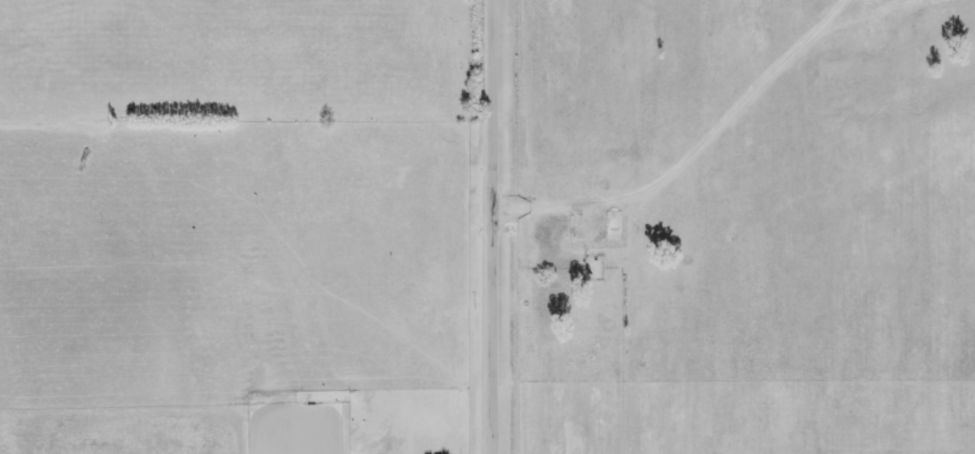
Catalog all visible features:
airport: (746, 226)
road: (496, 227)

